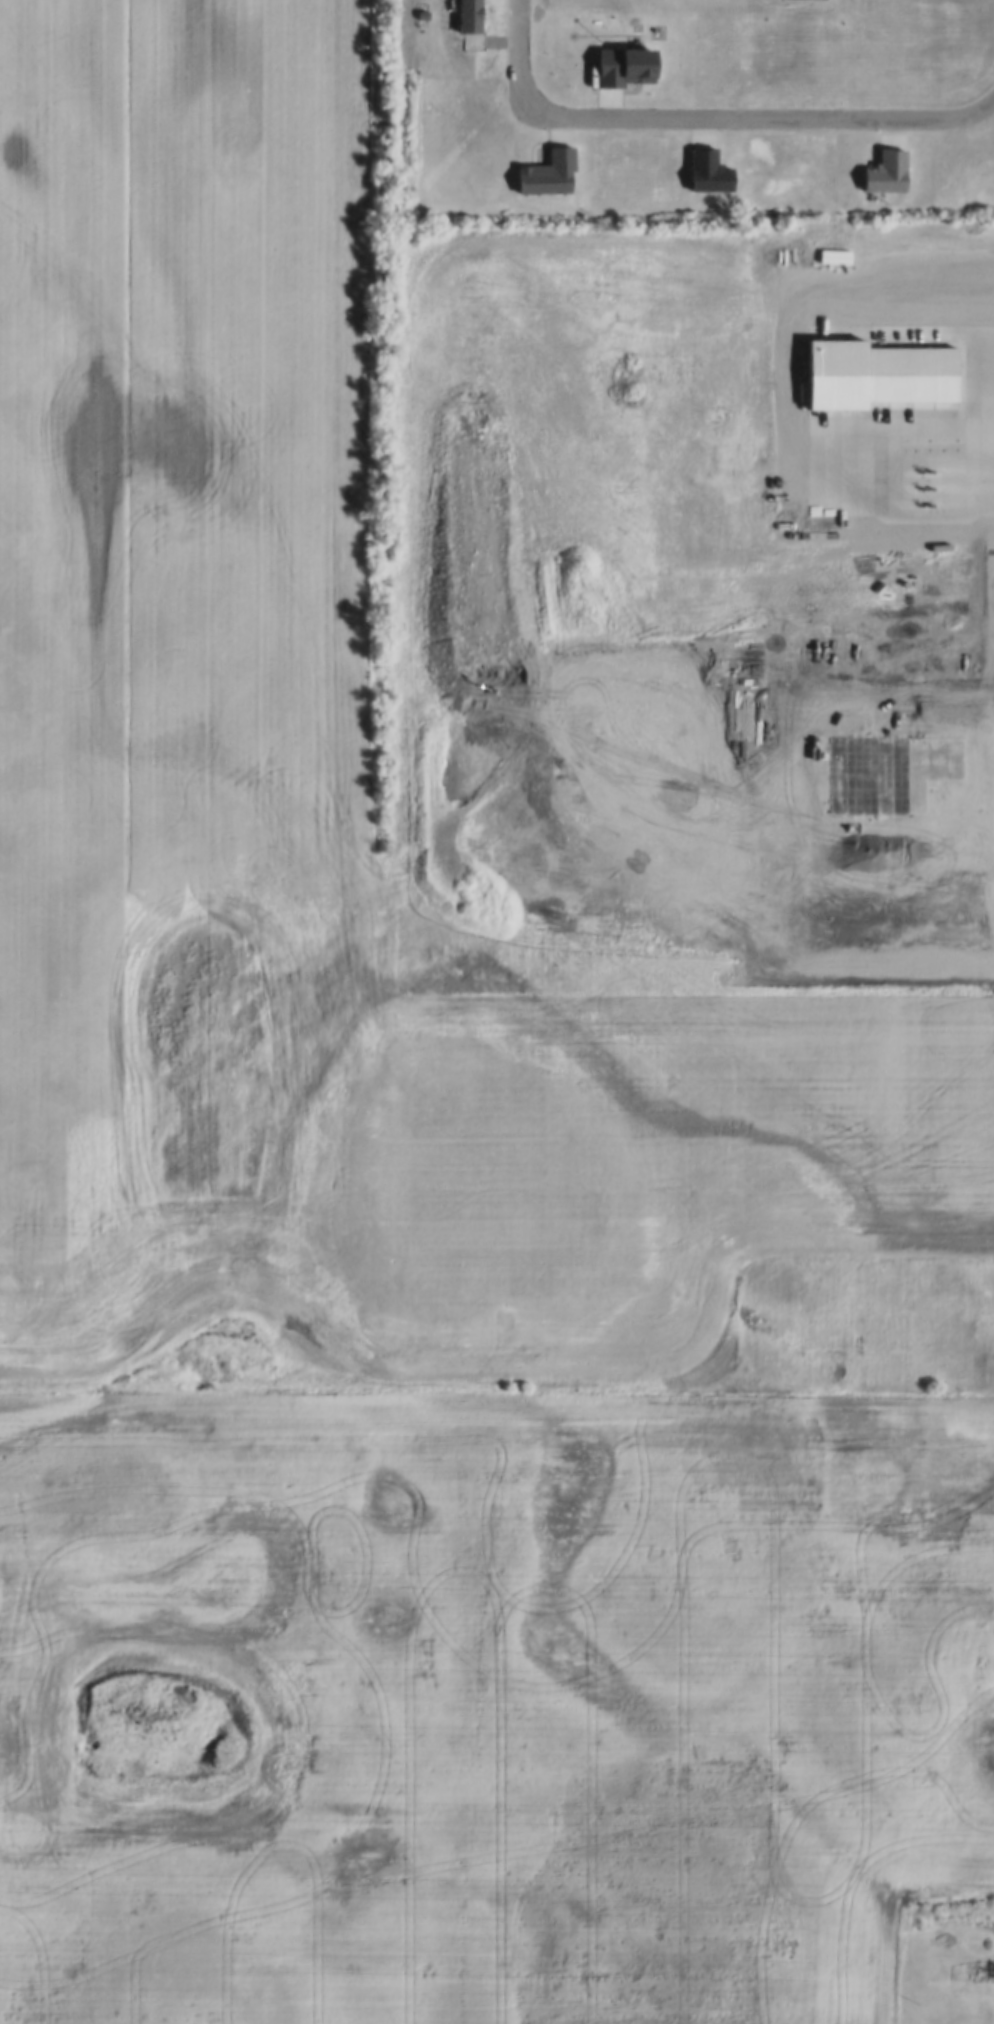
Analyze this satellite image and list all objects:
building: (615, 57)
road: (712, 111)
building: (701, 162)
building: (879, 163)
building: (540, 164)
road: (986, 312)
building: (866, 362)
road: (977, 399)
road: (905, 475)

